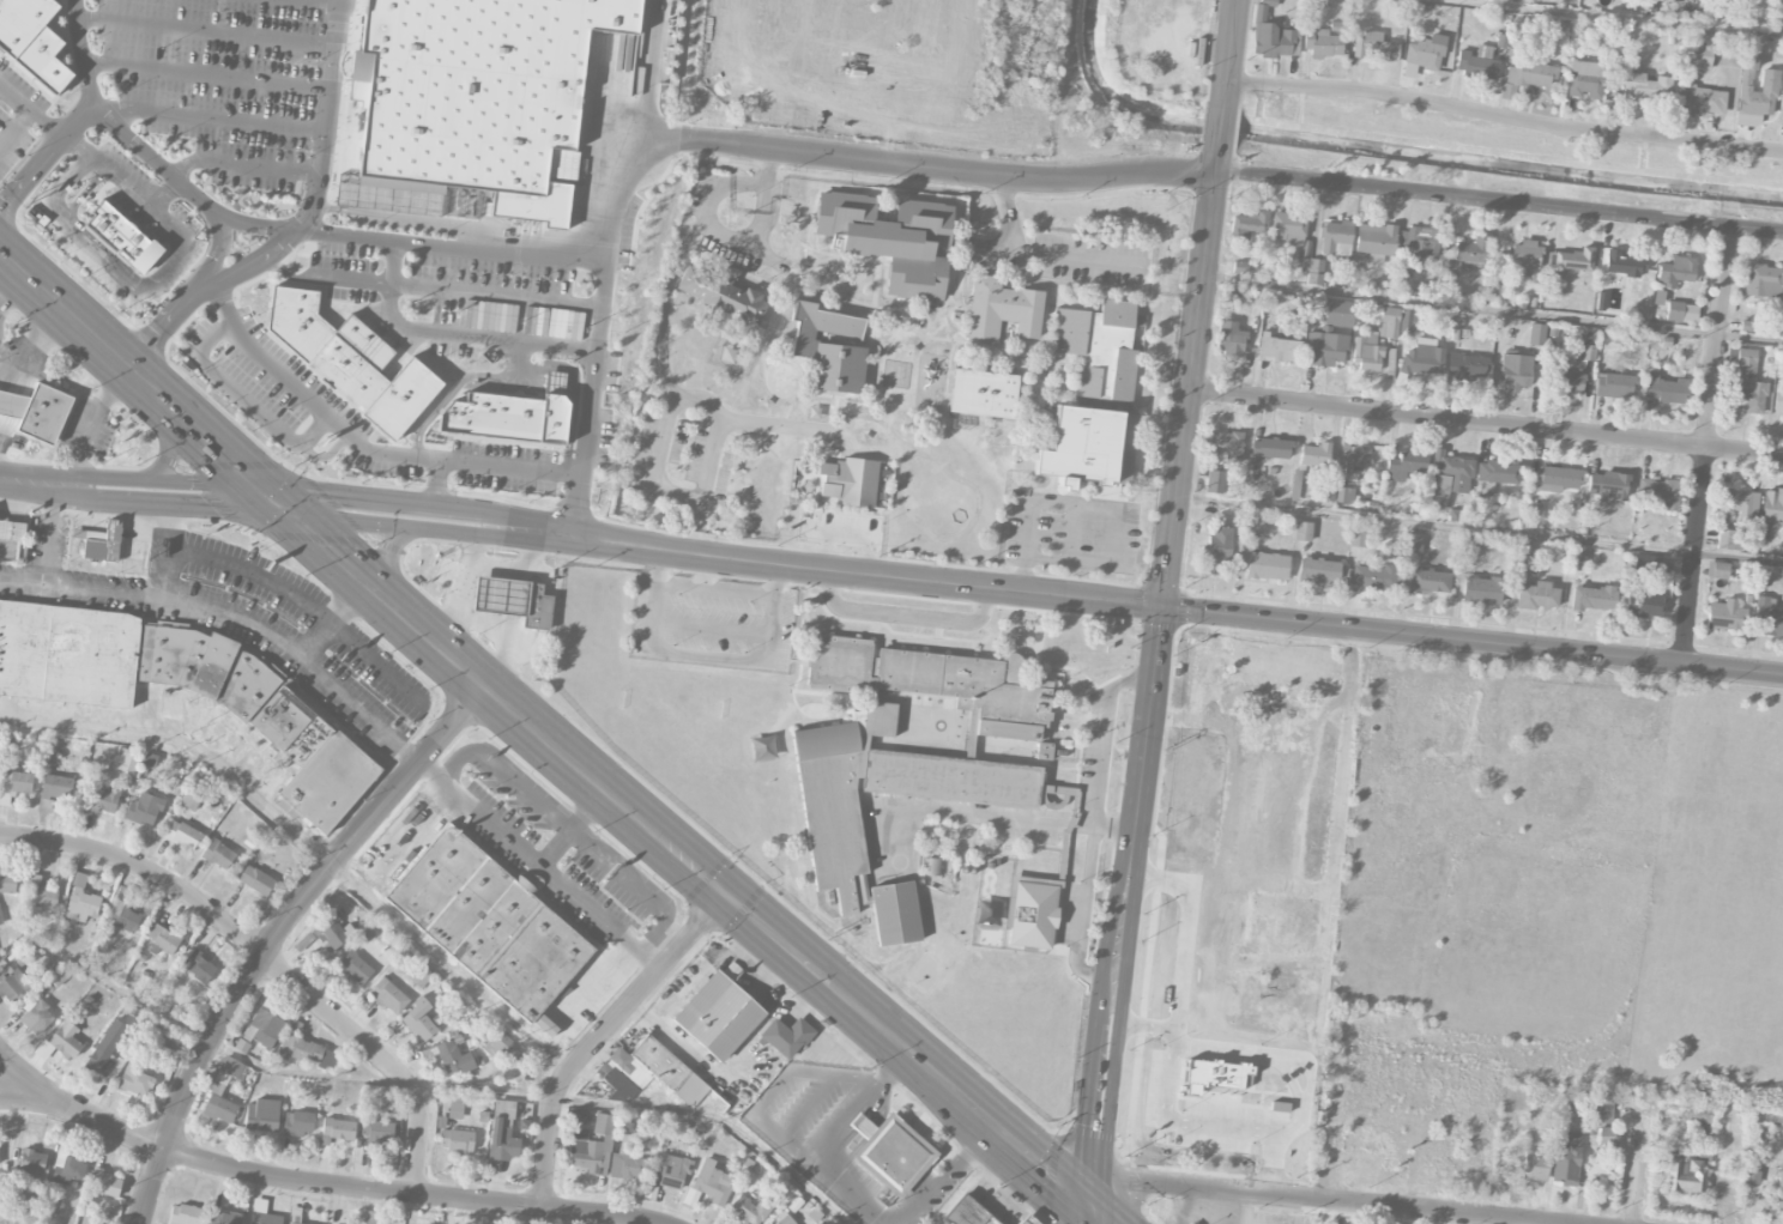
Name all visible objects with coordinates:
road: (328, 1)
road: (1619, 18)
road: (206, 31)
building: (1270, 35)
building: (32, 40)
building: (1323, 41)
building: (1374, 48)
building: (1425, 51)
road: (1223, 53)
building: (1700, 56)
building: (1727, 57)
building: (1476, 62)
building: (1530, 72)
road: (206, 74)
building: (1585, 80)
building: (477, 87)
building: (1646, 89)
building: (1755, 95)
building: (1700, 102)
road: (328, 104)
road: (31, 111)
road: (1501, 116)
road: (210, 119)
road: (1215, 125)
road: (115, 126)
road: (16, 131)
road: (85, 152)
road: (46, 157)
road: (244, 162)
road: (769, 162)
road: (1211, 171)
road: (624, 174)
road: (68, 186)
road: (167, 196)
road: (761, 205)
road: (773, 206)
building: (1250, 224)
building: (1288, 228)
road: (85, 230)
road: (313, 231)
building: (122, 237)
building: (1336, 238)
building: (891, 240)
road: (737, 241)
building: (1376, 242)
building: (1421, 242)
road: (217, 248)
building: (1471, 250)
road: (508, 252)
road: (270, 253)
road: (767, 255)
road: (1041, 255)
road: (951, 259)
road: (834, 260)
building: (1523, 260)
building: (1570, 260)
road: (677, 261)
parking lot: (1080, 262)
building: (1622, 265)
road: (812, 266)
building: (1301, 266)
road: (870, 268)
building: (1243, 268)
building: (1316, 272)
building: (1675, 272)
road: (815, 279)
road: (393, 280)
road: (859, 280)
building: (1449, 280)
building: (1761, 281)
road: (133, 286)
road: (951, 286)
road: (12, 291)
building: (723, 295)
road: (497, 296)
road: (874, 301)
road: (957, 303)
road: (877, 307)
road: (1491, 308)
building: (1002, 310)
building: (1681, 311)
road: (168, 320)
building: (297, 320)
road: (929, 321)
building: (1409, 321)
road: (732, 325)
building: (1748, 326)
building: (1331, 334)
building: (1536, 334)
road: (494, 337)
road: (757, 339)
road: (941, 339)
building: (1229, 339)
building: (1376, 341)
building: (829, 349)
building: (1099, 349)
building: (1280, 350)
building: (1588, 352)
building: (1424, 357)
building: (351, 364)
road: (948, 365)
building: (1467, 366)
building: (1516, 372)
road: (1187, 374)
road: (138, 376)
building: (1746, 381)
building: (1571, 382)
building: (1614, 386)
building: (1664, 389)
road: (822, 394)
road: (947, 394)
building: (984, 394)
road: (244, 398)
road: (309, 399)
building: (401, 399)
building: (1778, 399)
building: (37, 412)
building: (492, 418)
road: (838, 418)
road: (665, 423)
road: (1483, 423)
road: (90, 424)
road: (778, 424)
road: (585, 442)
road: (761, 443)
building: (1226, 446)
road: (1708, 446)
building: (1089, 447)
building: (1268, 450)
building: (1314, 456)
road: (163, 460)
building: (1358, 461)
parking lot: (678, 462)
building: (1406, 465)
road: (510, 468)
road: (812, 471)
road: (815, 474)
building: (1494, 475)
building: (1447, 479)
building: (1557, 479)
building: (850, 480)
building: (1213, 481)
road: (28, 483)
building: (1295, 483)
road: (59, 486)
road: (81, 487)
road: (437, 489)
building: (1606, 489)
road: (134, 491)
building: (1658, 493)
road: (977, 495)
building: (1344, 495)
road: (222, 496)
traffic signals: (277, 499)
road: (814, 502)
building: (1742, 504)
road: (356, 508)
road: (1100, 508)
road: (448, 519)
road: (470, 522)
road: (822, 528)
building: (1252, 528)
road: (1477, 529)
parking lot: (844, 531)
building: (1303, 531)
parking lot: (1071, 532)
road: (52, 535)
road: (847, 537)
building: (1358, 537)
road: (394, 539)
building: (12, 540)
building: (1728, 540)
building: (99, 543)
road: (472, 543)
building: (1413, 543)
building: (1468, 549)
building: (1215, 551)
building: (1522, 555)
building: (1576, 561)
building: (1646, 563)
building: (1267, 565)
road: (820, 568)
road: (514, 569)
building: (1318, 570)
building: (1717, 570)
road: (253, 572)
road: (519, 575)
building: (1373, 577)
building: (1428, 581)
road: (459, 582)
road: (81, 588)
road: (715, 590)
building: (1481, 590)
building: (1537, 596)
road: (514, 598)
building: (1594, 598)
road: (191, 599)
building: (514, 600)
building: (1643, 605)
traffic signals: (1162, 607)
building: (1724, 614)
road: (905, 616)
building: (1767, 618)
parking lot: (711, 622)
road: (446, 624)
road: (712, 625)
road: (509, 626)
road: (503, 635)
road: (1471, 642)
road: (707, 659)
road: (1283, 662)
parking lot: (1258, 666)
road: (326, 674)
road: (1211, 696)
building: (1287, 707)
building: (292, 729)
building: (1264, 741)
building: (1044, 751)
road: (1096, 751)
parking lot: (1095, 752)
building: (126, 761)
road: (449, 765)
road: (429, 771)
building: (915, 778)
building: (16, 783)
building: (54, 790)
building: (105, 799)
building: (191, 801)
building: (144, 810)
road: (569, 828)
building: (182, 835)
road: (307, 844)
building: (218, 854)
road: (681, 856)
building: (932, 867)
building: (256, 880)
road: (1229, 880)
building: (7, 883)
building: (43, 893)
traffic signals: (725, 895)
building: (80, 901)
road: (1125, 907)
building: (1030, 911)
building: (894, 914)
road: (1082, 916)
building: (0, 919)
building: (1196, 919)
building: (127, 920)
building: (488, 923)
building: (1264, 928)
building: (332, 932)
road: (277, 934)
road: (652, 935)
building: (163, 939)
road: (1324, 941)
road: (266, 958)
road: (1245, 963)
building: (199, 967)
building: (355, 967)
building: (731, 971)
building: (421, 976)
building: (12, 983)
building: (388, 995)
road: (1210, 1005)
building: (35, 1016)
building: (718, 1016)
building: (419, 1020)
parking lot: (1174, 1023)
building: (264, 1028)
road: (600, 1036)
building: (786, 1037)
building: (66, 1040)
building: (170, 1040)
building: (496, 1042)
road: (1156, 1047)
building: (108, 1052)
building: (308, 1052)
building: (453, 1058)
building: (230, 1066)
building: (649, 1072)
road: (25, 1075)
building: (135, 1081)
road: (427, 1086)
road: (760, 1103)
building: (218, 1104)
building: (1225, 1104)
building: (455, 1107)
building: (1604, 1113)
building: (1699, 1113)
building: (261, 1115)
building: (298, 1123)
building: (603, 1125)
building: (337, 1131)
building: (377, 1131)
building: (502, 1132)
building: (1608, 1138)
building: (457, 1140)
parking lot: (1287, 1146)
building: (891, 1149)
road: (1285, 1158)
building: (1566, 1158)
building: (32, 1164)
building: (1535, 1165)
building: (627, 1167)
building: (67, 1169)
building: (670, 1170)
building: (1752, 1170)
road: (947, 1174)
building: (1682, 1174)
building: (105, 1182)
road: (324, 1183)
building: (709, 1183)
road: (1633, 1184)
building: (1779, 1190)
road: (1313, 1198)
traffic signals: (1093, 1207)
building: (750, 1210)
building: (262, 1213)
building: (967, 1213)
building: (185, 1214)
road: (1090, 1216)
road: (1101, 1216)
building: (373, 1217)
building: (223, 1218)
building: (785, 1220)
building: (1027, 1220)

